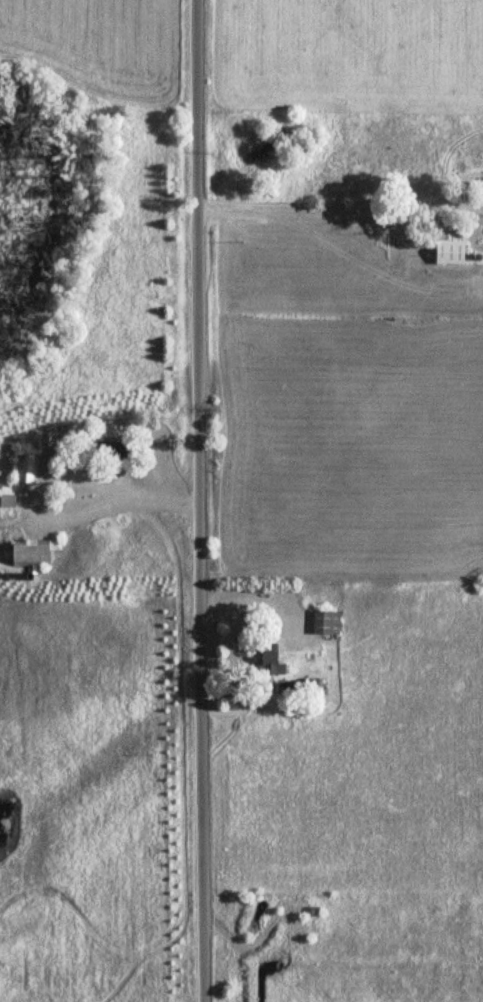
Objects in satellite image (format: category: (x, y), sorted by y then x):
road: (340, 211)
building: (451, 252)
building: (114, 449)
building: (27, 469)
building: (8, 497)
road: (200, 500)
building: (326, 622)
building: (271, 658)

